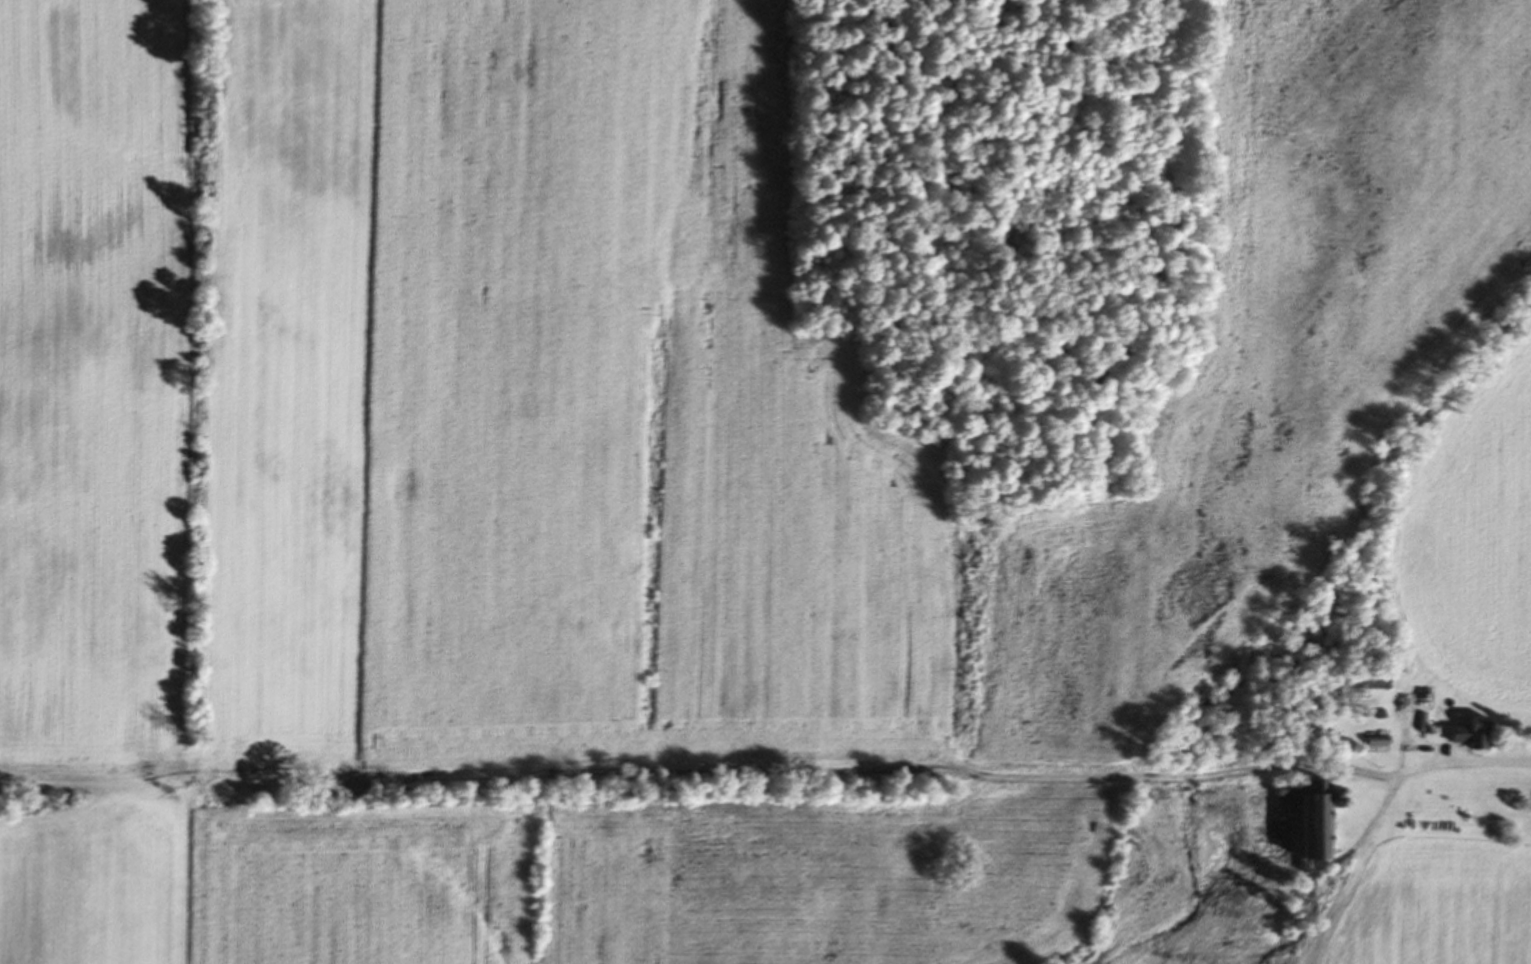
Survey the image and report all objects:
building: (1376, 681)
building: (1475, 734)
road: (1396, 768)
road: (1369, 817)
building: (1321, 820)

